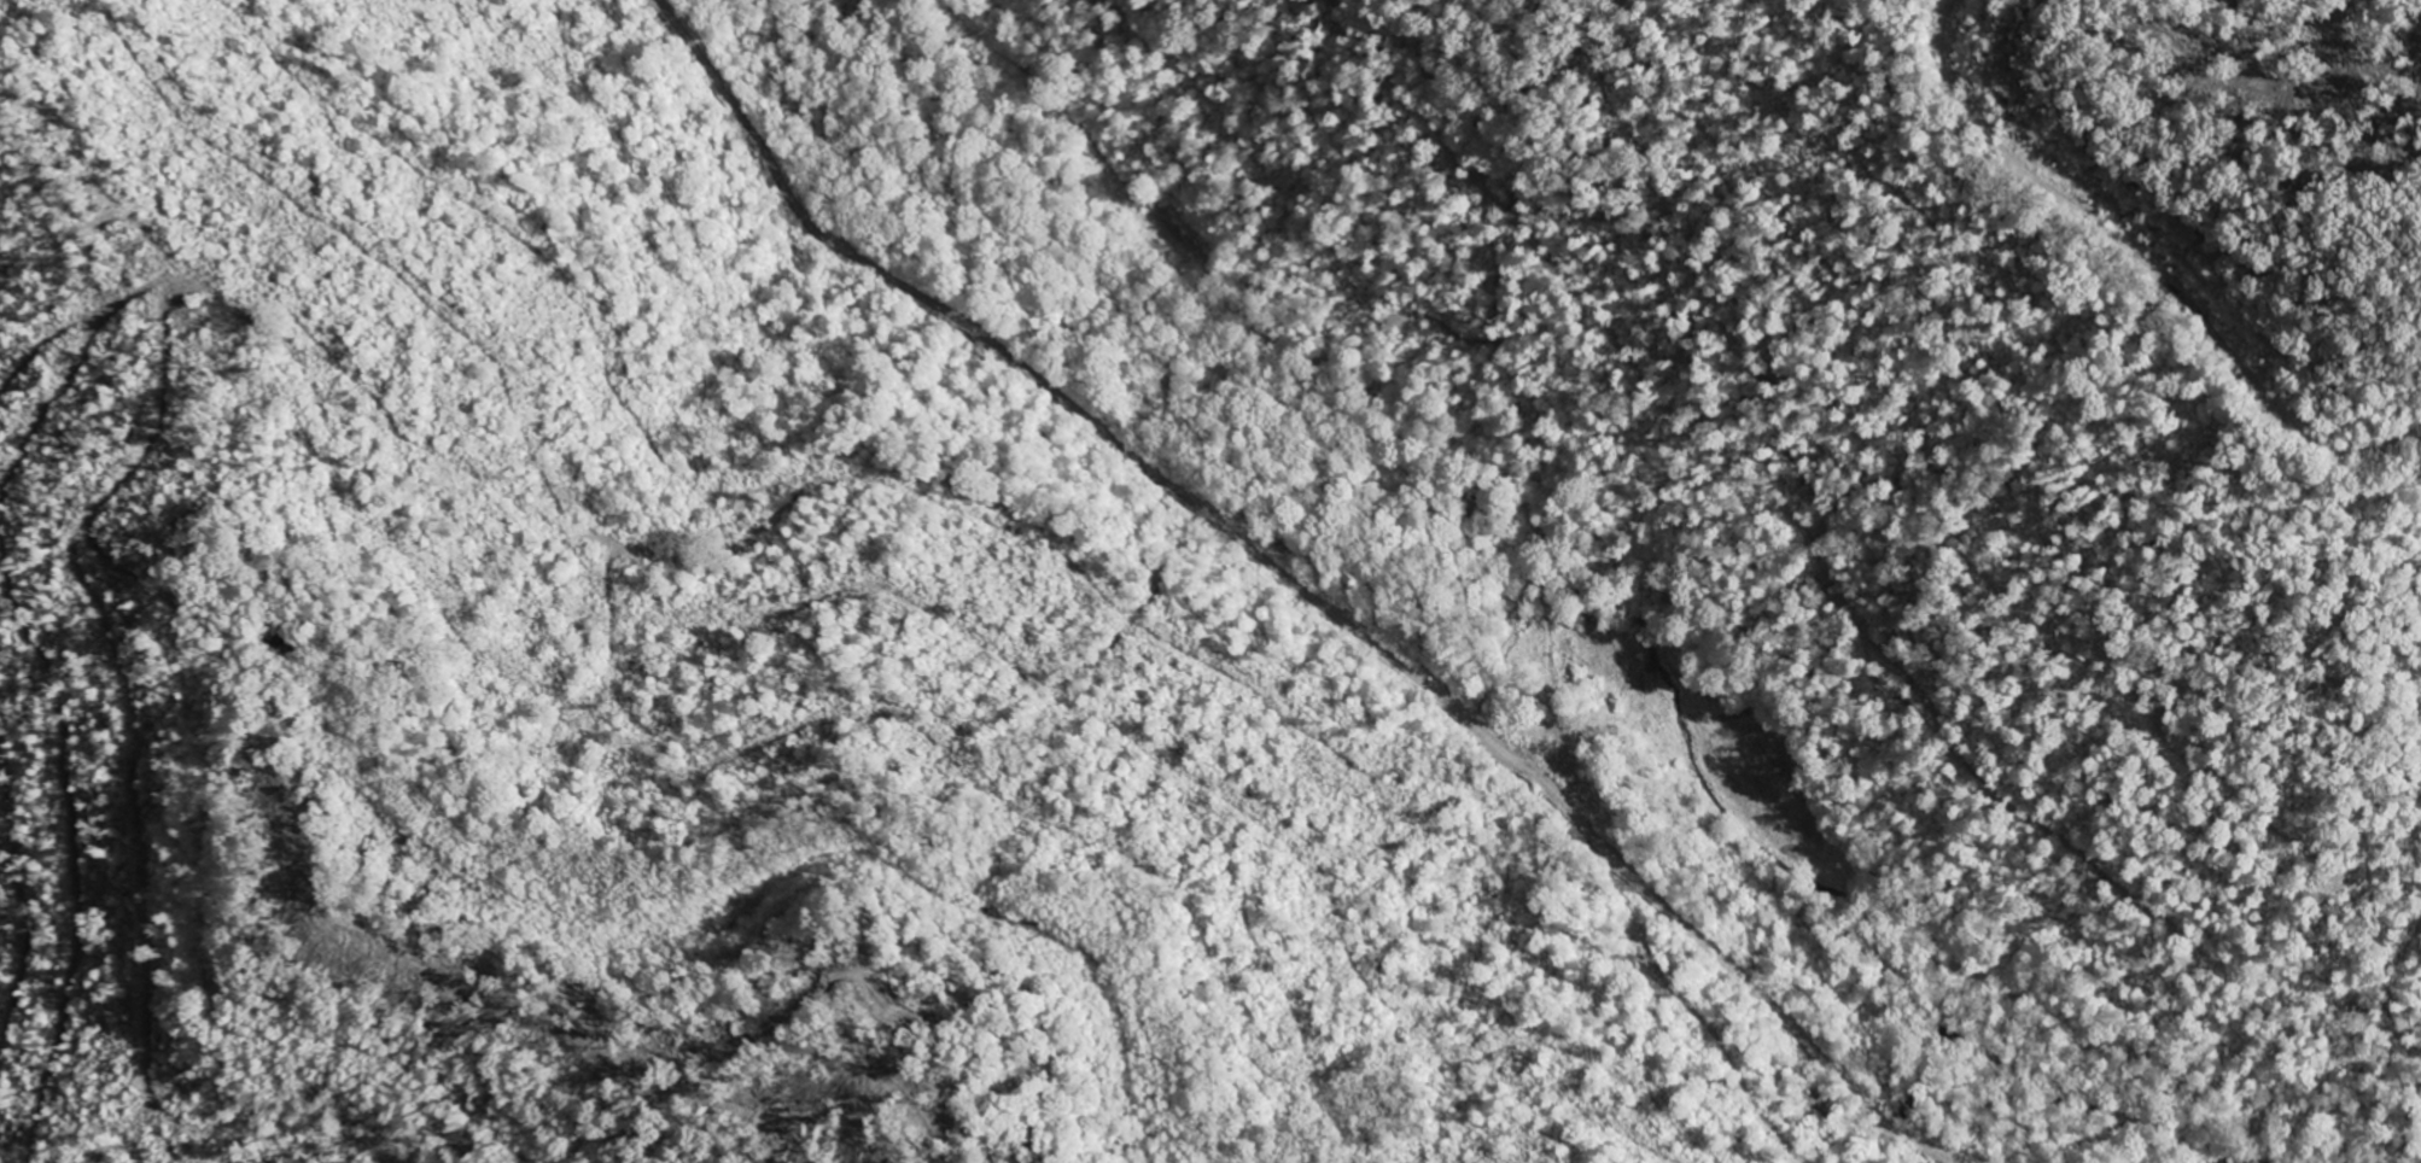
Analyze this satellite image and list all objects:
road: (1305, 583)

